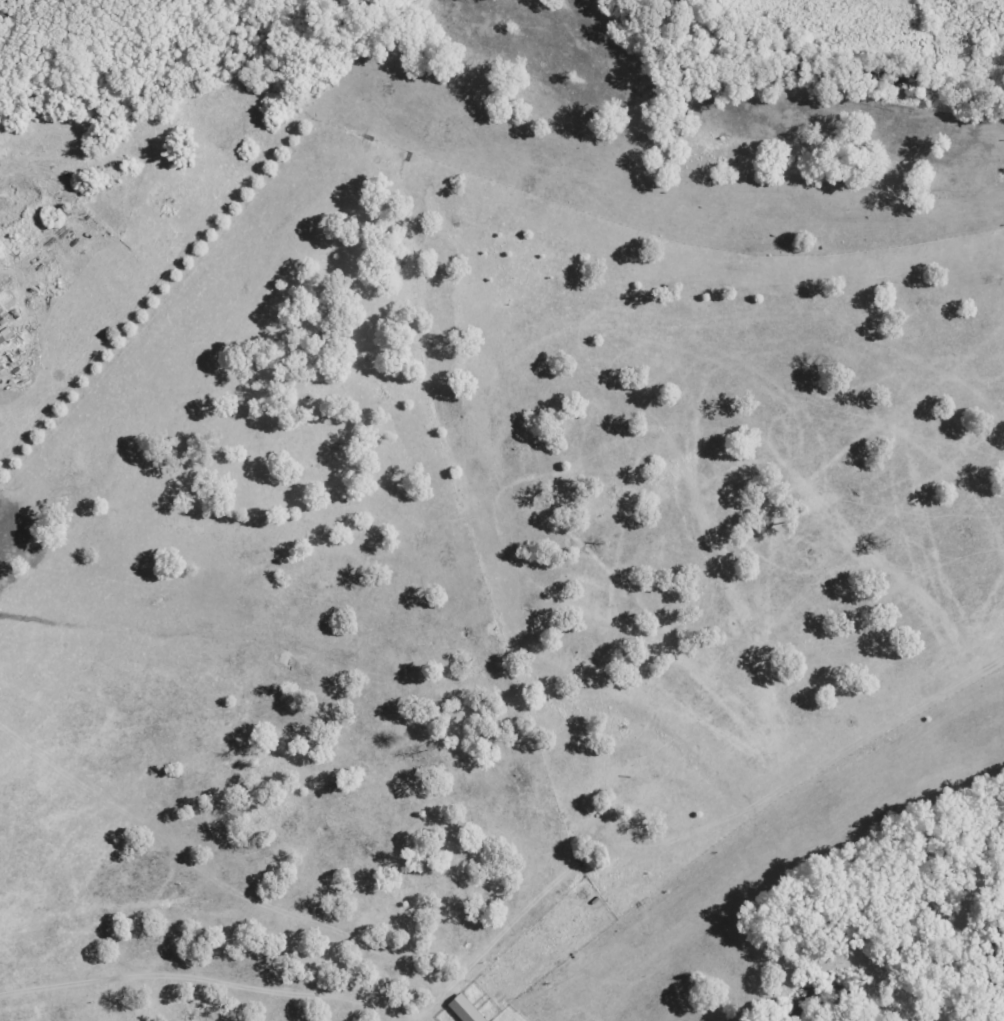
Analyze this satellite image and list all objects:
building: (453, 1011)

